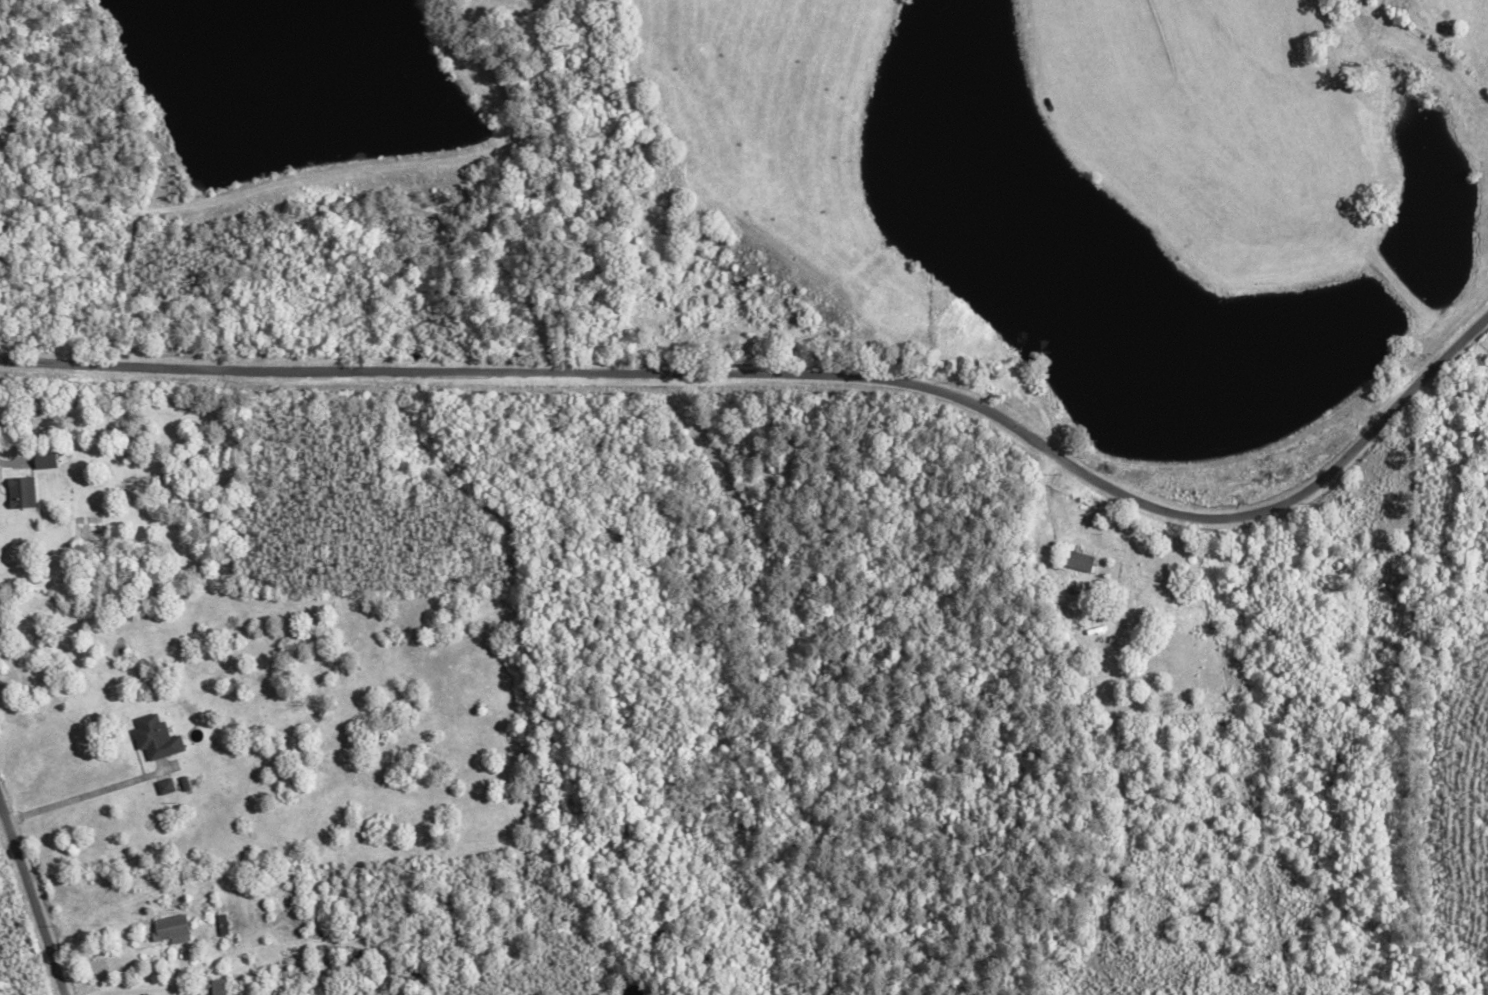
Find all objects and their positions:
road: (798, 378)
building: (49, 460)
building: (25, 492)
building: (1081, 560)
building: (159, 738)
building: (185, 783)
building: (167, 786)
road: (76, 798)
road: (27, 910)
building: (175, 929)
building: (220, 987)

